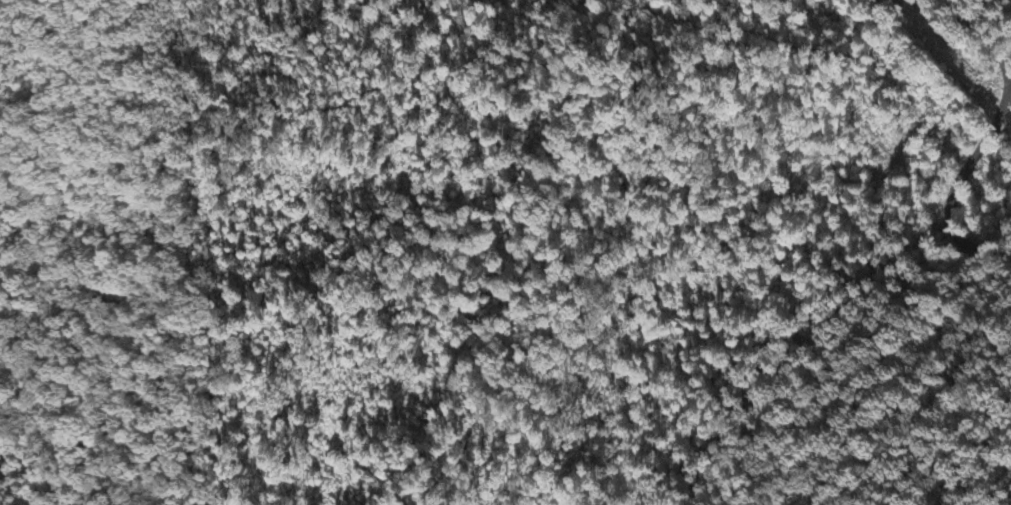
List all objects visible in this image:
road: (982, 137)

